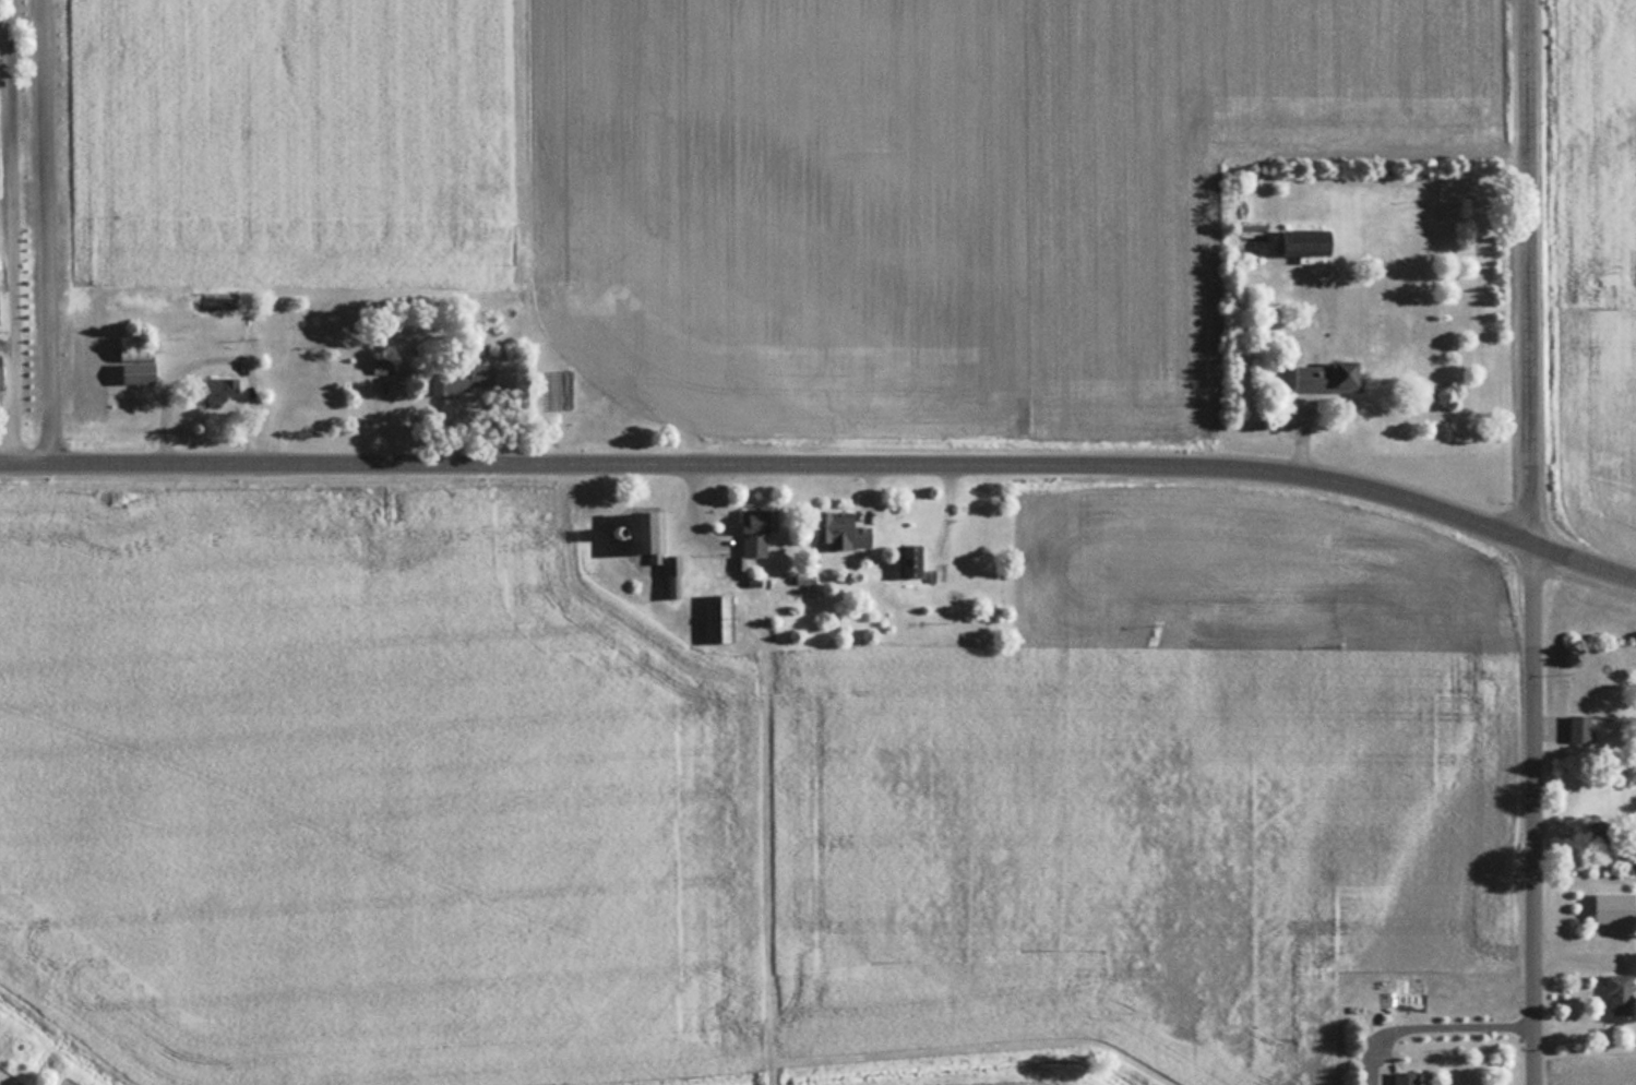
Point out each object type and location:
road: (10, 231)
road: (46, 231)
building: (1307, 242)
road: (1527, 270)
building: (140, 361)
building: (383, 363)
building: (0, 375)
building: (303, 375)
building: (1328, 375)
building: (462, 379)
building: (223, 390)
road: (1300, 434)
road: (769, 465)
building: (759, 528)
building: (843, 530)
building: (647, 532)
building: (910, 559)
road: (1583, 559)
road: (1548, 726)
building: (1581, 727)
road: (1530, 812)
building: (1607, 842)
building: (1615, 907)
building: (1620, 993)
road: (1425, 1023)
building: (1407, 1077)

